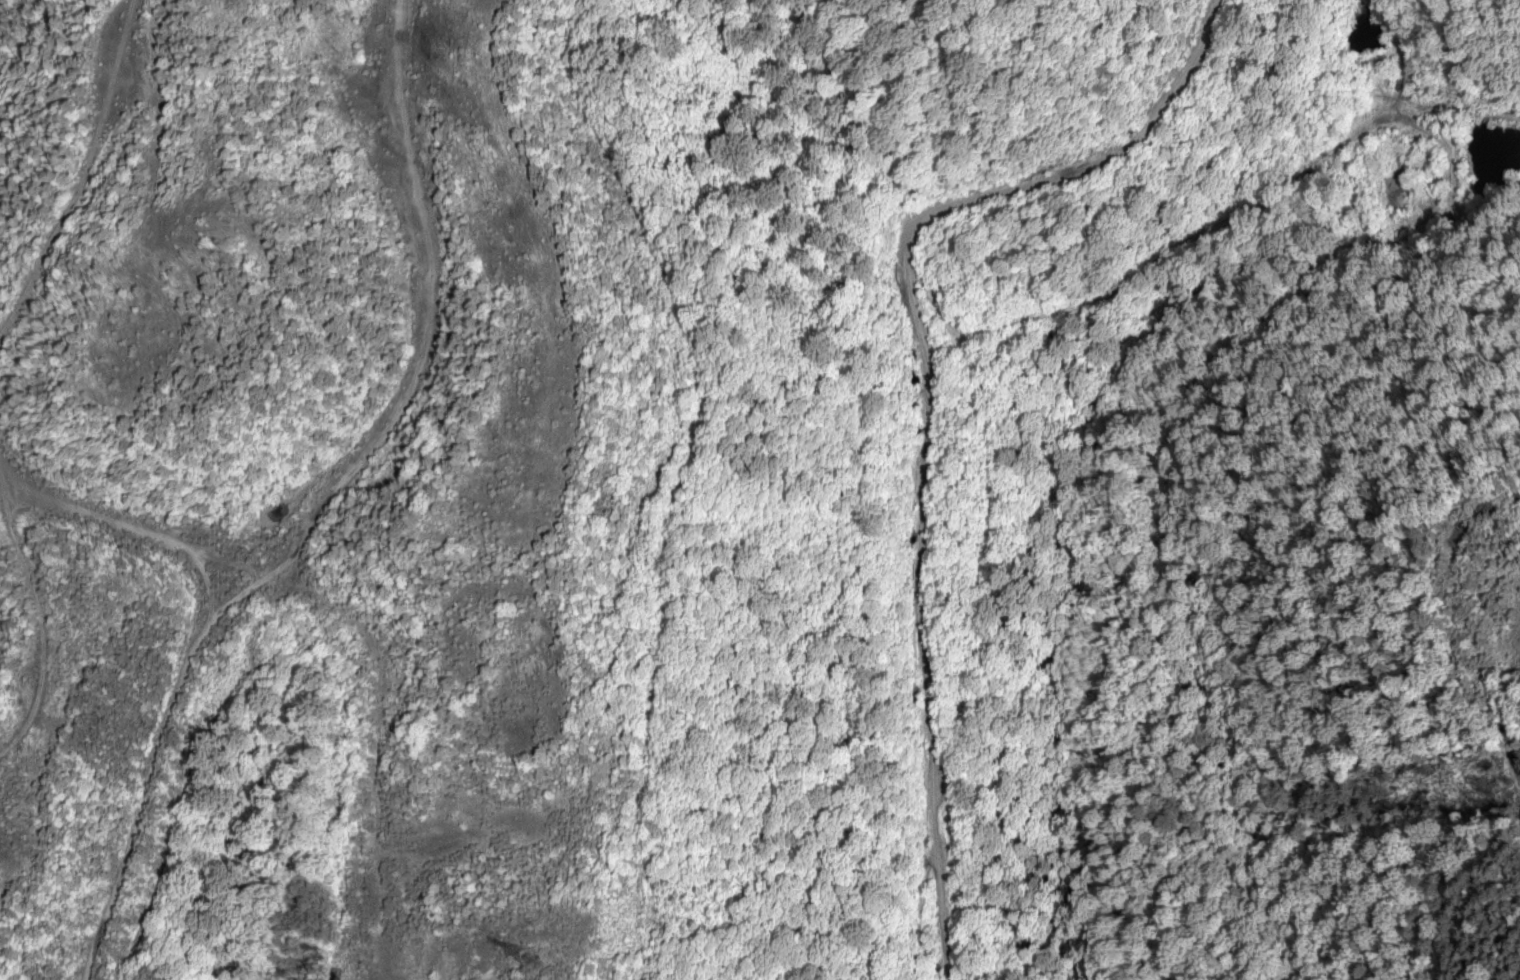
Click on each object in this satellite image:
power tower: (532, 954)

